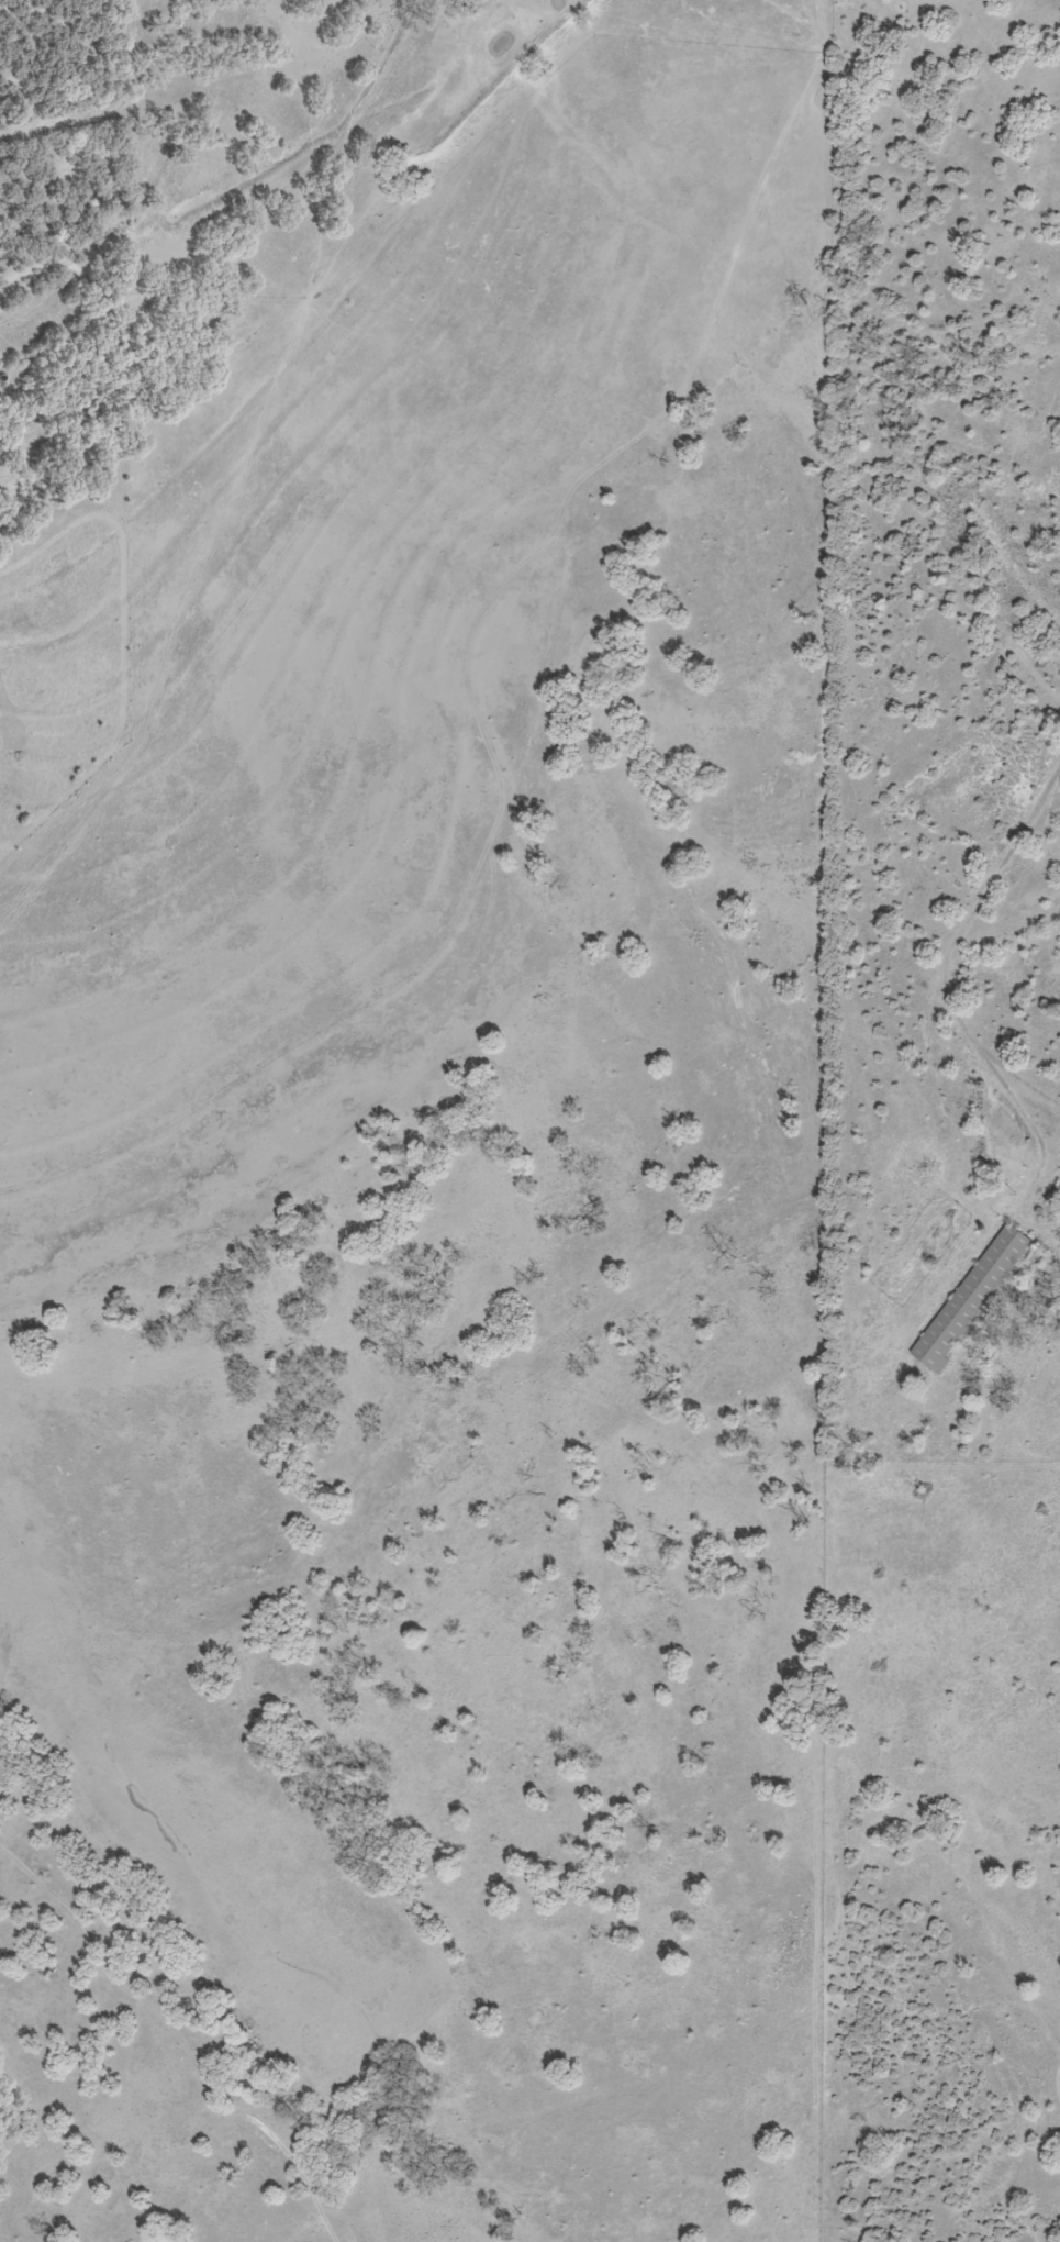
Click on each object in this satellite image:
building: (1, 449)
road: (953, 897)
building: (971, 1298)
road: (1018, 2109)

